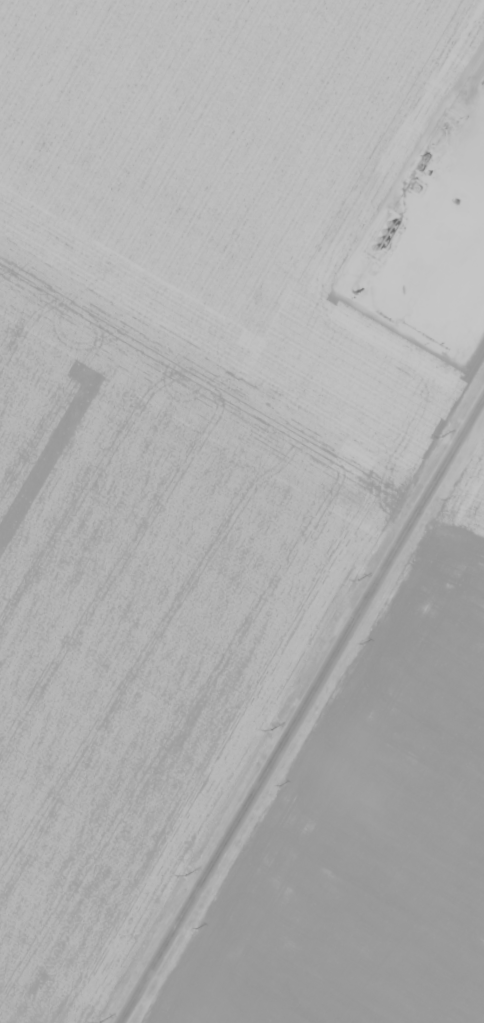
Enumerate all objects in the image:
road: (396, 251)
road: (301, 720)

